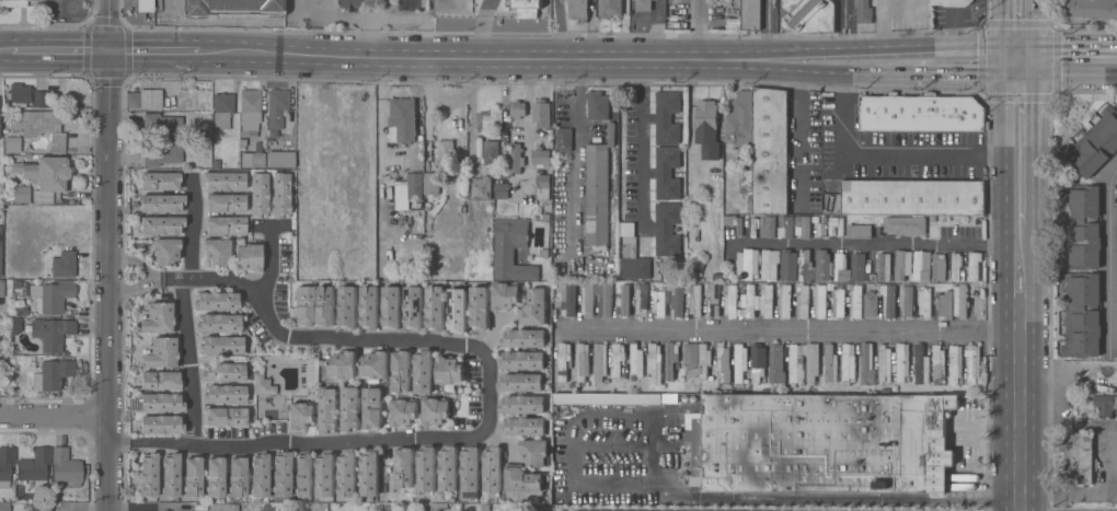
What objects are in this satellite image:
building: (951, 2)
building: (13, 3)
building: (352, 4)
building: (408, 4)
building: (173, 5)
building: (643, 5)
building: (311, 8)
building: (527, 8)
road: (900, 8)
building: (577, 9)
building: (610, 9)
building: (1091, 9)
building: (863, 11)
road: (243, 14)
building: (751, 14)
building: (808, 16)
road: (880, 22)
road: (1004, 22)
road: (843, 23)
road: (1032, 23)
road: (767, 24)
road: (484, 27)
road: (557, 28)
road: (695, 30)
road: (263, 35)
road: (870, 46)
traffic signals: (1004, 46)
road: (1017, 46)
traffic signals: (1032, 46)
road: (1074, 46)
road: (5, 51)
road: (60, 53)
traffic signals: (110, 54)
road: (424, 56)
road: (1032, 60)
road: (825, 72)
road: (958, 73)
traffic signals: (1004, 74)
traffic signals: (1032, 74)
road: (1060, 74)
building: (20, 92)
building: (41, 97)
building: (145, 98)
building: (276, 106)
building: (597, 106)
building: (222, 109)
building: (250, 109)
building: (517, 109)
building: (921, 113)
building: (541, 114)
building: (403, 118)
building: (667, 118)
building: (490, 119)
building: (740, 121)
building: (42, 126)
building: (161, 126)
road: (529, 126)
building: (707, 129)
building: (0, 133)
building: (343, 139)
building: (564, 140)
building: (604, 140)
building: (12, 143)
road: (645, 143)
building: (1094, 144)
road: (1032, 149)
building: (770, 151)
building: (161, 152)
building: (445, 152)
building: (491, 152)
road: (575, 152)
road: (886, 153)
building: (516, 158)
building: (541, 158)
building: (280, 159)
building: (253, 160)
building: (393, 162)
building: (25, 169)
building: (51, 173)
building: (667, 173)
building: (748, 176)
building: (160, 181)
building: (223, 181)
building: (431, 183)
building: (415, 186)
building: (543, 187)
building: (481, 188)
road: (1005, 189)
building: (502, 191)
building: (21, 194)
building: (258, 195)
building: (280, 195)
building: (597, 195)
building: (912, 197)
building: (162, 202)
building: (224, 202)
building: (70, 219)
building: (162, 224)
building: (837, 224)
road: (193, 225)
building: (226, 225)
building: (769, 225)
building: (905, 225)
building: (785, 227)
building: (805, 227)
building: (1082, 227)
building: (667, 230)
building: (857, 231)
building: (50, 236)
road: (866, 243)
building: (1116, 247)
building: (0, 251)
building: (511, 251)
building: (165, 252)
building: (217, 252)
building: (543, 254)
road: (111, 255)
building: (632, 255)
building: (249, 256)
road: (1032, 257)
road: (270, 258)
road: (1109, 259)
building: (769, 264)
building: (61, 265)
building: (747, 265)
building: (903, 265)
building: (787, 266)
building: (804, 266)
building: (821, 266)
building: (840, 266)
building: (859, 266)
building: (956, 266)
building: (974, 266)
building: (883, 267)
building: (920, 267)
building: (938, 269)
road: (147, 275)
road: (204, 277)
building: (1, 288)
building: (54, 294)
building: (506, 295)
building: (567, 299)
building: (694, 299)
building: (587, 300)
building: (606, 300)
building: (642, 300)
building: (677, 300)
building: (767, 300)
building: (888, 300)
building: (216, 301)
building: (714, 301)
building: (748, 301)
building: (784, 301)
building: (803, 301)
building: (820, 301)
building: (906, 301)
building: (960, 301)
building: (623, 302)
building: (659, 302)
building: (732, 302)
building: (855, 302)
building: (924, 302)
building: (838, 303)
building: (870, 303)
road: (1113, 304)
building: (303, 305)
building: (326, 305)
building: (944, 305)
building: (348, 307)
building: (370, 307)
building: (392, 307)
building: (414, 307)
building: (480, 307)
building: (436, 309)
building: (534, 309)
building: (458, 311)
road: (1026, 311)
building: (1082, 315)
building: (158, 317)
building: (218, 323)
road: (795, 332)
building: (51, 333)
building: (523, 338)
building: (220, 345)
building: (161, 352)
building: (691, 356)
building: (723, 357)
building: (618, 359)
building: (671, 359)
road: (187, 360)
building: (522, 360)
building: (564, 360)
building: (636, 360)
building: (704, 360)
building: (583, 362)
building: (600, 362)
building: (740, 362)
building: (758, 362)
building: (813, 362)
building: (884, 362)
building: (902, 362)
building: (937, 362)
building: (654, 363)
building: (776, 363)
building: (848, 363)
building: (796, 364)
building: (830, 364)
building: (866, 364)
building: (920, 364)
building: (955, 364)
building: (974, 364)
building: (343, 365)
building: (375, 365)
building: (402, 371)
building: (450, 371)
building: (223, 372)
building: (424, 372)
building: (53, 374)
building: (160, 380)
building: (520, 382)
building: (262, 384)
building: (224, 394)
building: (607, 398)
building: (162, 402)
building: (522, 405)
building: (1105, 405)
building: (372, 408)
building: (350, 409)
building: (329, 410)
building: (436, 411)
building: (404, 413)
road: (56, 416)
building: (226, 416)
building: (301, 416)
road: (1022, 420)
building: (161, 423)
building: (525, 427)
road: (464, 439)
building: (821, 442)
building: (534, 452)
building: (1079, 457)
building: (5, 465)
building: (35, 466)
building: (66, 466)
building: (405, 467)
building: (557, 467)
building: (427, 468)
building: (448, 468)
building: (471, 468)
building: (493, 469)
building: (369, 473)
building: (149, 474)
building: (347, 474)
building: (171, 475)
building: (260, 475)
building: (281, 475)
building: (303, 475)
building: (325, 475)
building: (193, 476)
building: (215, 476)
building: (238, 476)
building: (522, 479)
road: (805, 497)
building: (4, 506)
road: (149, 506)
building: (41, 507)
building: (223, 507)

